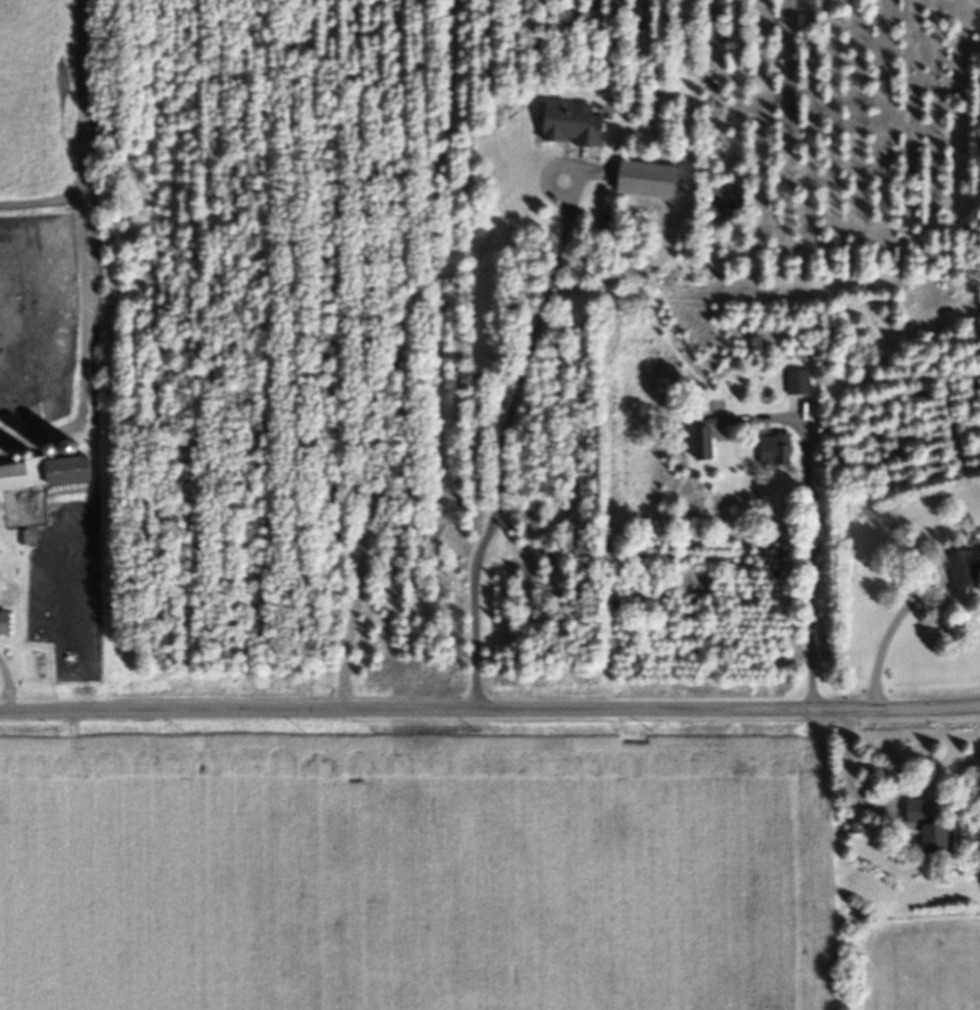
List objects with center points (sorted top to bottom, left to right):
building: (566, 127)
road: (398, 354)
building: (796, 385)
road: (503, 446)
building: (694, 447)
building: (770, 454)
building: (50, 475)
building: (9, 481)
road: (802, 524)
building: (962, 569)
building: (1, 626)
road: (881, 634)
road: (490, 710)
road: (884, 811)
building: (927, 814)
building: (926, 843)

